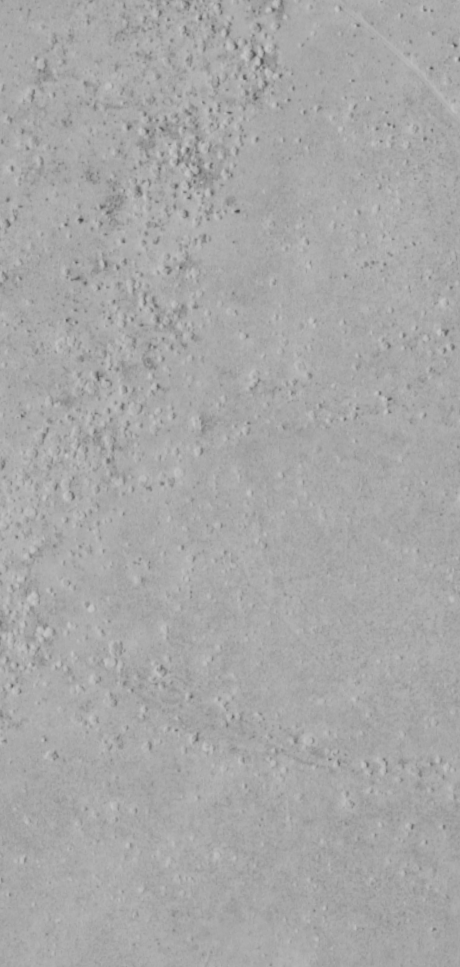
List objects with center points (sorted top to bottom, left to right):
road: (394, 58)

